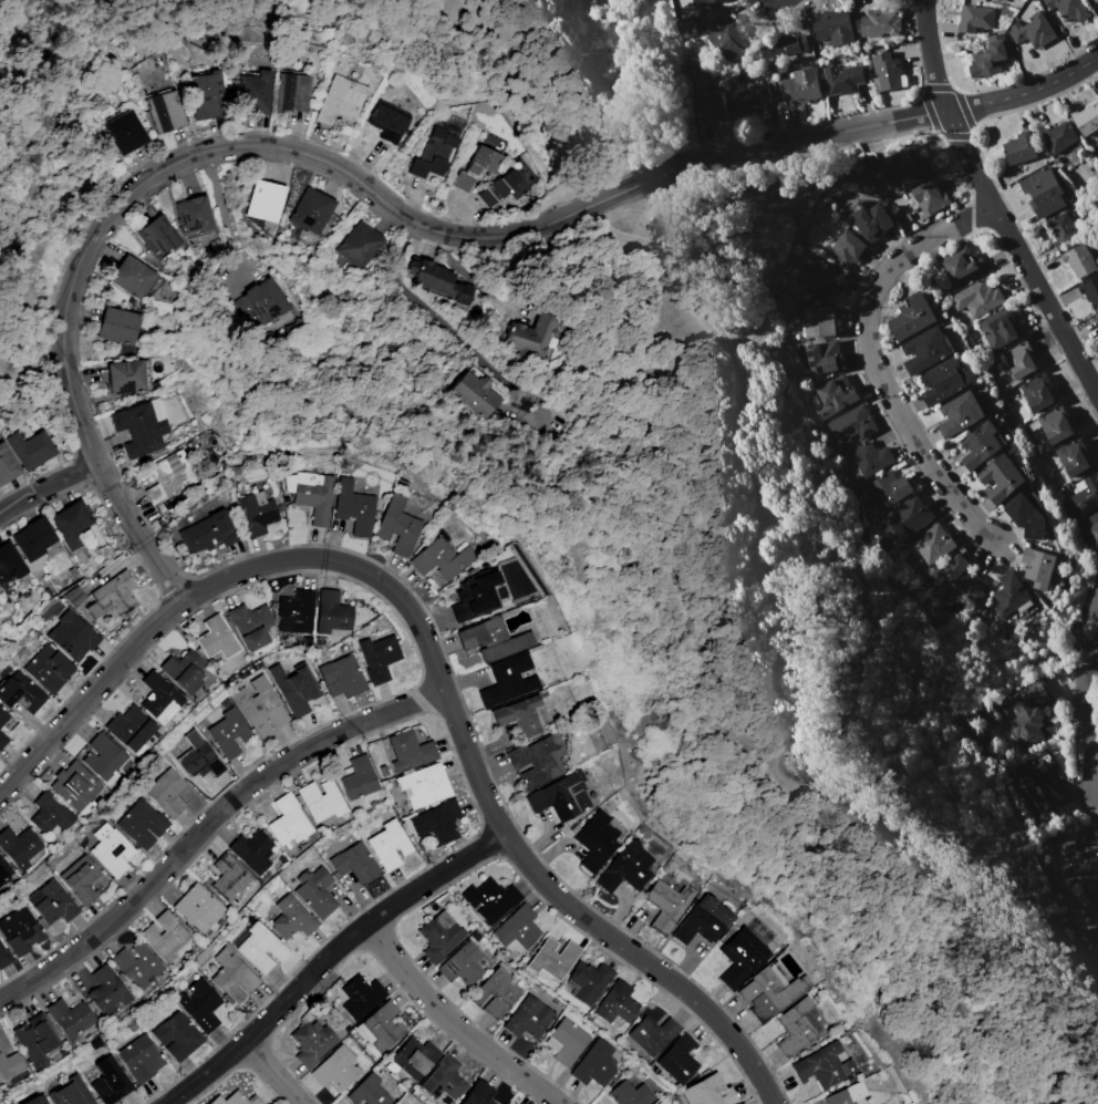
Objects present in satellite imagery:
building: (982, 0)
building: (1096, 0)
building: (706, 1)
building: (999, 1)
building: (1069, 10)
building: (975, 18)
building: (879, 22)
building: (685, 27)
building: (833, 28)
building: (1034, 31)
building: (725, 37)
building: (783, 45)
building: (990, 56)
building: (885, 71)
building: (843, 79)
building: (797, 85)
building: (252, 92)
building: (290, 92)
building: (206, 95)
building: (752, 97)
building: (340, 100)
building: (711, 107)
building: (165, 111)
building: (387, 118)
building: (1086, 118)
building: (125, 132)
building: (1058, 136)
building: (437, 146)
building: (1019, 148)
building: (480, 161)
building: (907, 168)
building: (506, 185)
building: (1043, 190)
building: (930, 197)
building: (266, 200)
road: (998, 200)
park: (66, 205)
road: (390, 205)
building: (311, 210)
road: (225, 214)
building: (193, 218)
building: (868, 219)
building: (1063, 227)
building: (156, 238)
building: (361, 246)
building: (843, 248)
building: (1079, 260)
building: (963, 267)
building: (819, 277)
building: (132, 278)
building: (442, 281)
building: (1090, 291)
building: (977, 298)
building: (261, 305)
building: (913, 317)
building: (1096, 317)
building: (1096, 320)
building: (820, 322)
building: (117, 327)
building: (998, 330)
building: (534, 337)
building: (926, 350)
building: (825, 357)
building: (1018, 361)
road: (878, 363)
building: (127, 376)
building: (943, 382)
building: (1037, 392)
building: (475, 395)
building: (833, 396)
building: (962, 413)
building: (850, 425)
building: (1053, 425)
building: (141, 427)
building: (981, 444)
building: (30, 448)
building: (870, 457)
building: (1071, 457)
building: (7, 464)
building: (169, 476)
building: (1001, 477)
road: (46, 489)
building: (888, 489)
building: (1085, 494)
building: (313, 496)
building: (354, 508)
building: (256, 513)
building: (1027, 517)
building: (905, 519)
building: (71, 523)
building: (397, 526)
building: (1091, 530)
building: (208, 533)
building: (33, 539)
building: (933, 544)
building: (1096, 554)
building: (443, 559)
building: (1097, 559)
building: (10, 563)
building: (1039, 567)
building: (964, 578)
building: (1012, 595)
building: (74, 597)
building: (111, 597)
building: (472, 597)
building: (1092, 608)
building: (296, 612)
building: (332, 615)
building: (251, 625)
building: (72, 636)
building: (216, 638)
building: (493, 640)
road: (435, 654)
building: (379, 658)
building: (48, 669)
building: (184, 671)
building: (342, 677)
building: (508, 681)
building: (294, 688)
building: (20, 693)
building: (157, 698)
building: (261, 708)
building: (1029, 714)
building: (3, 716)
building: (522, 716)
road: (1083, 724)
building: (128, 728)
building: (229, 733)
building: (2, 740)
building: (410, 751)
building: (103, 756)
building: (200, 760)
building: (538, 762)
building: (358, 777)
building: (1035, 780)
building: (424, 785)
building: (75, 786)
building: (167, 792)
building: (560, 797)
building: (321, 801)
building: (50, 814)
building: (438, 822)
building: (288, 823)
building: (143, 824)
road: (209, 826)
building: (598, 840)
building: (389, 845)
building: (19, 847)
building: (251, 850)
building: (113, 853)
building: (355, 864)
building: (1080, 864)
building: (625, 868)
building: (4, 869)
building: (228, 879)
building: (81, 880)
building: (317, 893)
building: (490, 900)
building: (52, 904)
building: (665, 906)
building: (196, 909)
building: (292, 919)
building: (702, 921)
building: (518, 929)
building: (20, 931)
building: (164, 936)
building: (439, 937)
building: (261, 949)
building: (740, 957)
building: (4, 958)
road: (333, 960)
building: (552, 960)
building: (464, 964)
building: (136, 967)
building: (232, 977)
building: (588, 982)
building: (106, 991)
building: (769, 992)
building: (495, 993)
building: (360, 997)
building: (617, 1003)
building: (200, 1005)
road: (458, 1013)
building: (70, 1018)
building: (528, 1018)
building: (381, 1026)
building: (797, 1026)
building: (652, 1034)
building: (35, 1036)
building: (177, 1036)
building: (311, 1042)
building: (566, 1042)
building: (412, 1057)
building: (141, 1059)
building: (679, 1060)
building: (594, 1064)
building: (10, 1065)
building: (823, 1066)
building: (335, 1069)
road: (282, 1073)
building: (445, 1079)
building: (110, 1081)
building: (71, 1092)
building: (367, 1092)
building: (709, 1092)
building: (479, 1094)
building: (630, 1094)
building: (848, 1095)
building: (238, 1098)
building: (31, 1101)
building: (396, 1103)
building: (743, 1103)

